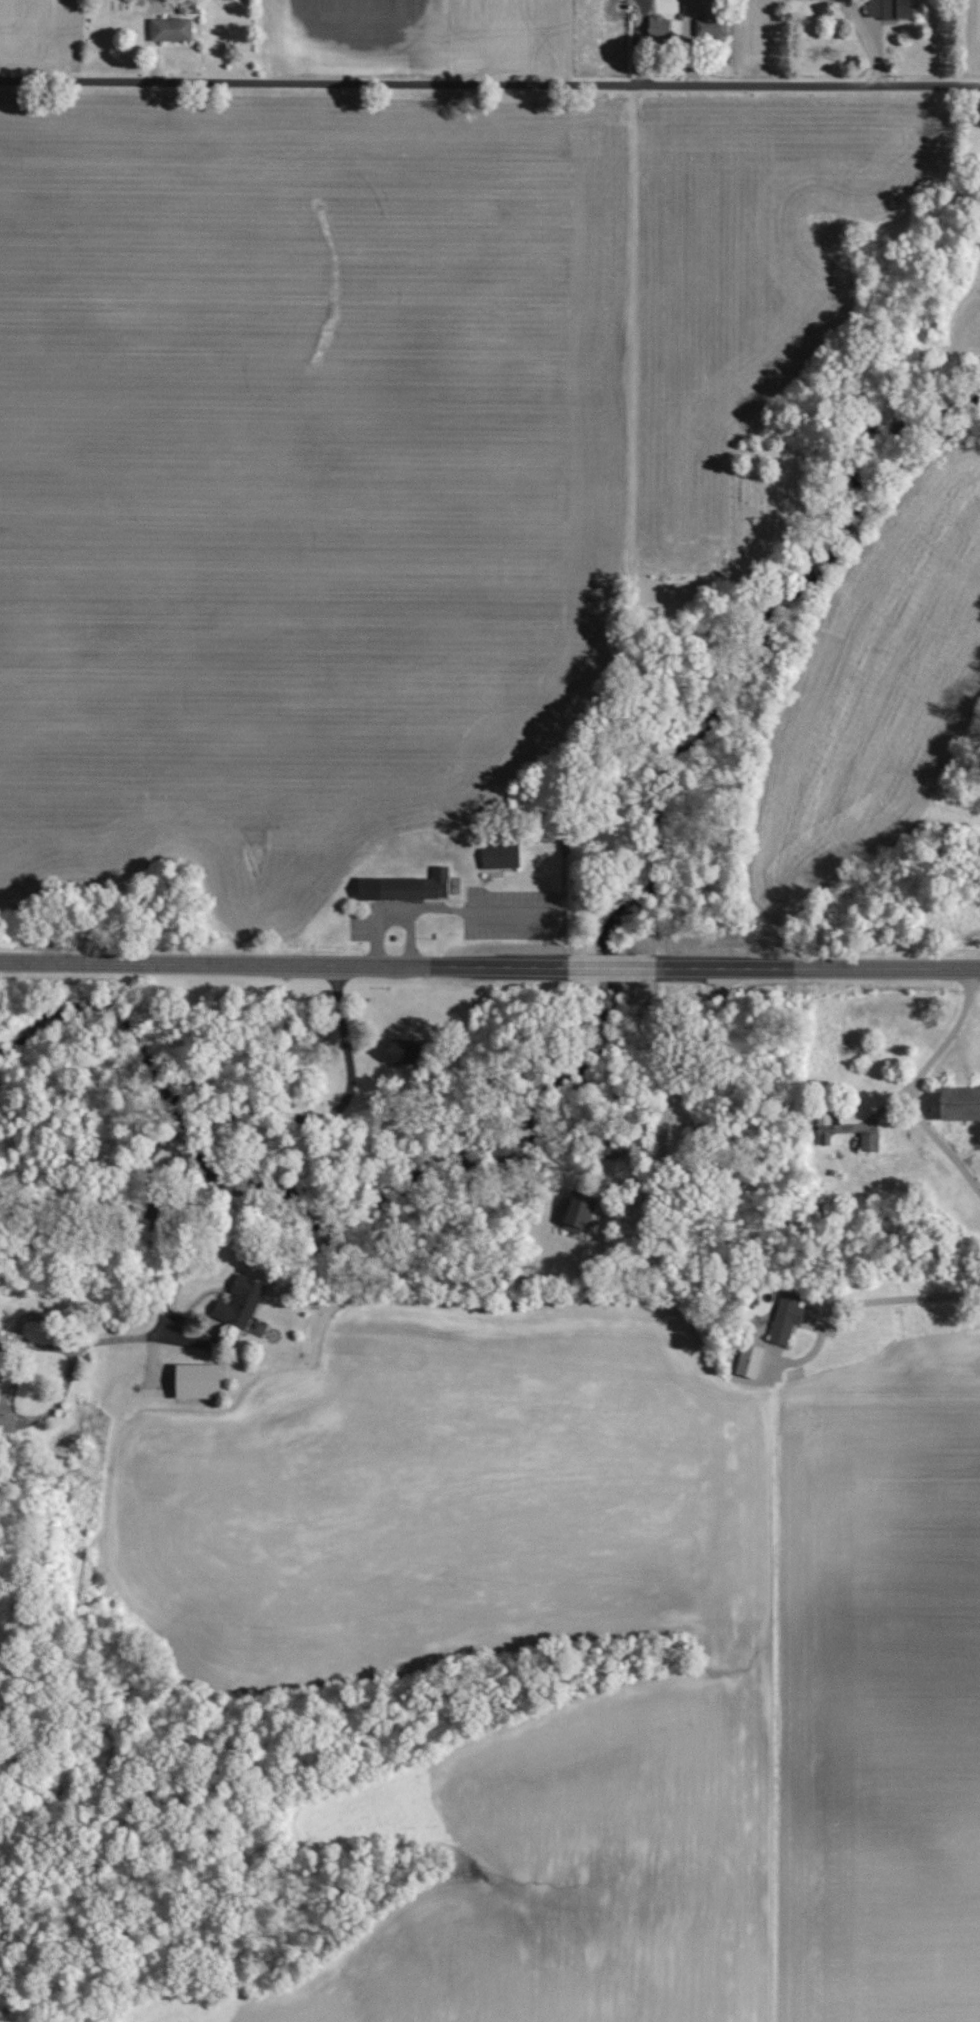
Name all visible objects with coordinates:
building: (891, 8)
building: (659, 26)
building: (711, 26)
building: (171, 28)
road: (868, 40)
road: (490, 84)
park: (765, 495)
building: (500, 855)
building: (406, 887)
road: (490, 967)
building: (405, 1052)
road: (930, 1081)
building: (960, 1104)
building: (870, 1142)
building: (615, 1150)
building: (578, 1213)
building: (239, 1301)
road: (916, 1302)
building: (786, 1317)
building: (1, 1358)
building: (749, 1359)
building: (197, 1380)

